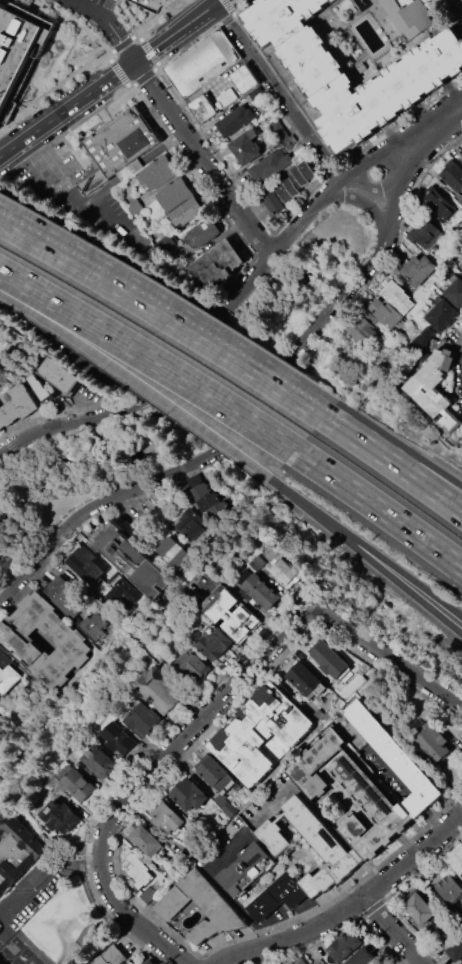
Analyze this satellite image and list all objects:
road: (183, 7)
building: (407, 17)
road: (98, 22)
building: (14, 49)
building: (201, 62)
road: (110, 77)
building: (243, 79)
building: (410, 81)
road: (280, 92)
building: (227, 97)
building: (203, 107)
building: (235, 120)
building: (279, 130)
road: (432, 131)
building: (292, 139)
building: (118, 145)
building: (246, 147)
building: (461, 158)
road: (202, 160)
building: (272, 164)
building: (130, 169)
building: (158, 172)
building: (453, 177)
building: (296, 181)
road: (369, 187)
parking lot: (71, 189)
building: (173, 194)
road: (71, 197)
building: (272, 200)
road: (367, 202)
building: (138, 204)
building: (436, 204)
building: (186, 212)
building: (203, 232)
building: (425, 232)
building: (165, 242)
building: (215, 268)
building: (417, 270)
building: (461, 273)
parking lot: (81, 291)
building: (454, 292)
building: (397, 296)
building: (384, 312)
building: (442, 315)
road: (163, 318)
road: (213, 323)
building: (360, 327)
building: (422, 338)
road: (151, 358)
building: (58, 375)
road: (136, 381)
road: (222, 381)
building: (1, 383)
building: (38, 388)
building: (436, 389)
park: (184, 392)
building: (16, 404)
road: (87, 404)
road: (249, 419)
road: (392, 453)
road: (393, 463)
building: (210, 502)
road: (9, 509)
road: (381, 509)
road: (327, 521)
building: (188, 524)
road: (33, 534)
building: (166, 548)
building: (178, 558)
building: (132, 561)
building: (258, 561)
building: (83, 564)
building: (286, 571)
building: (246, 574)
road: (423, 588)
building: (119, 590)
building: (262, 591)
road: (422, 598)
building: (76, 608)
building: (230, 611)
building: (67, 641)
building: (215, 643)
road: (387, 656)
building: (330, 660)
building: (197, 670)
building: (6, 677)
building: (307, 680)
building: (159, 690)
building: (322, 715)
building: (0, 717)
building: (144, 719)
building: (261, 734)
building: (120, 737)
building: (434, 743)
building: (99, 761)
building: (215, 775)
road: (145, 776)
building: (362, 782)
building: (76, 786)
road: (403, 788)
building: (188, 795)
building: (229, 809)
road: (317, 810)
building: (56, 817)
building: (165, 819)
building: (147, 842)
building: (329, 845)
building: (16, 851)
building: (456, 859)
road: (207, 861)
building: (247, 868)
building: (138, 870)
road: (39, 879)
building: (446, 885)
parking lot: (32, 894)
building: (277, 897)
road: (353, 905)
road: (235, 906)
building: (418, 906)
building: (200, 909)
park: (58, 929)
road: (393, 930)
road: (88, 944)
building: (344, 945)
building: (455, 949)
park: (23, 956)
building: (112, 956)
building: (363, 956)
road: (410, 960)
building: (150, 961)
building: (299, 961)

